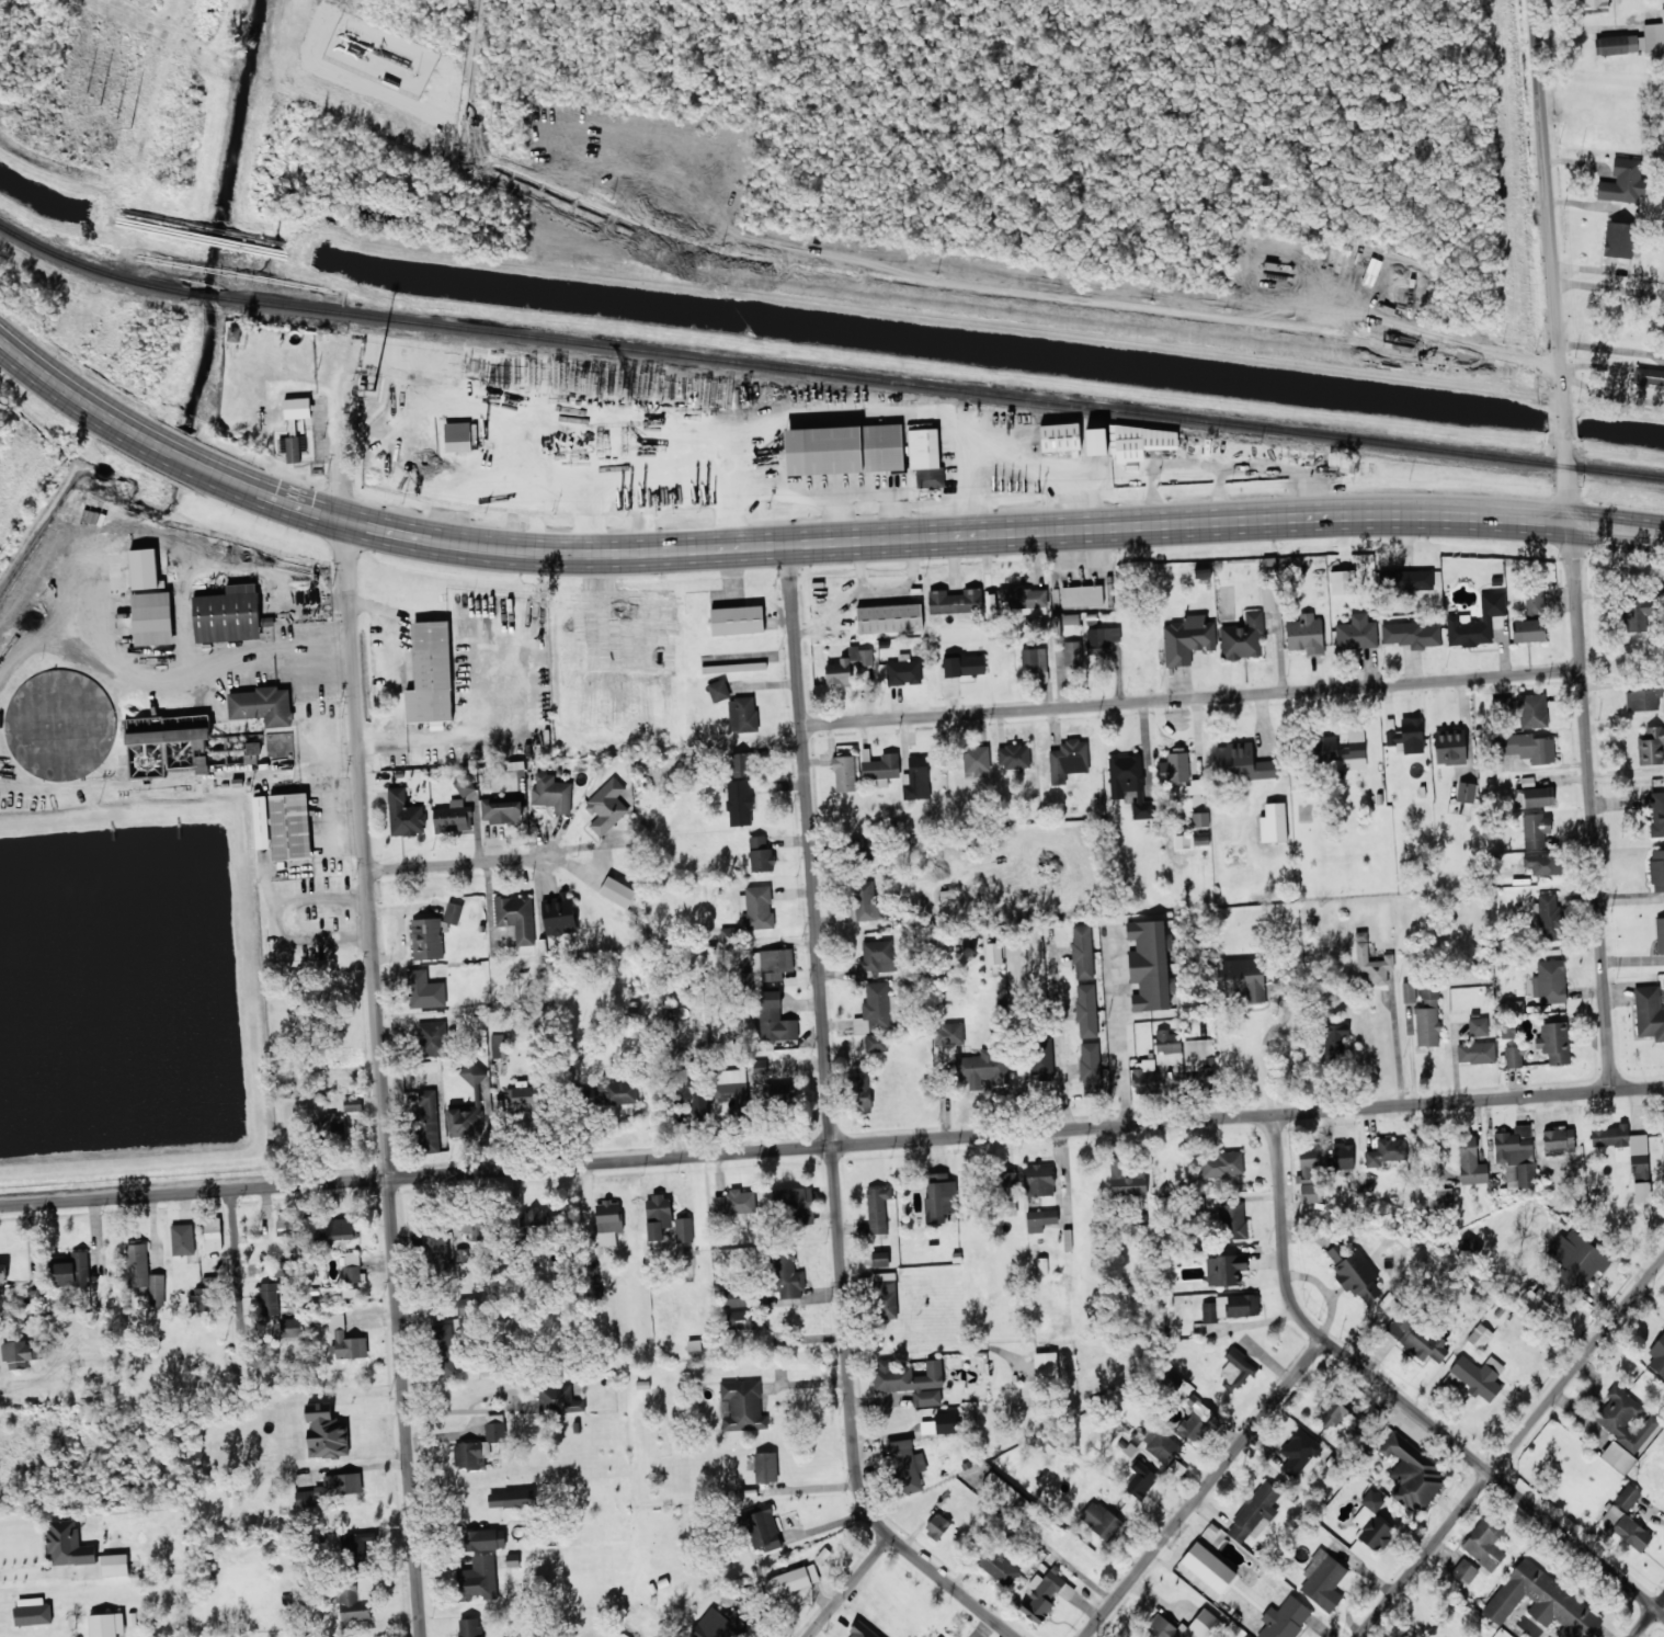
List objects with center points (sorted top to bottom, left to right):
building: (1594, 5)
building: (1633, 41)
building: (1622, 182)
building: (1617, 239)
road: (1609, 288)
building: (231, 333)
building: (410, 356)
railway: (825, 373)
building: (297, 408)
building: (457, 436)
building: (543, 437)
building: (1060, 437)
building: (1096, 441)
building: (1140, 441)
building: (819, 446)
building: (293, 447)
building: (925, 456)
building: (1338, 464)
building: (92, 521)
road: (805, 543)
road: (1574, 546)
building: (144, 568)
building: (1409, 580)
building: (1342, 582)
building: (1082, 595)
building: (1025, 598)
building: (1269, 598)
building: (955, 601)
building: (1534, 601)
building: (1637, 613)
building: (227, 615)
building: (151, 616)
building: (888, 616)
building: (738, 618)
building: (1475, 622)
building: (1528, 630)
building: (1356, 632)
building: (1306, 634)
building: (1411, 634)
building: (1243, 638)
building: (1102, 639)
building: (1187, 639)
building: (1073, 653)
building: (1034, 660)
building: (847, 666)
building: (964, 666)
building: (432, 668)
building: (903, 670)
building: (1663, 673)
building: (718, 690)
road: (1193, 696)
building: (1642, 700)
building: (262, 705)
building: (1532, 710)
building: (742, 714)
building: (1407, 736)
building: (1651, 746)
building: (200, 747)
building: (1449, 747)
building: (1528, 747)
building: (1343, 749)
building: (251, 752)
building: (1013, 755)
building: (977, 760)
building: (1068, 760)
building: (1242, 763)
building: (201, 764)
building: (741, 764)
building: (1174, 766)
building: (844, 773)
building: (916, 778)
building: (1129, 783)
building: (464, 785)
building: (1188, 787)
building: (1466, 792)
building: (551, 793)
building: (1534, 797)
building: (739, 803)
building: (606, 806)
building: (501, 810)
building: (1657, 814)
building: (404, 815)
building: (453, 817)
building: (1200, 819)
building: (261, 822)
building: (1273, 822)
building: (288, 825)
building: (1536, 830)
building: (862, 846)
building: (761, 853)
road: (459, 861)
building: (1541, 865)
building: (1656, 871)
building: (617, 891)
building: (867, 902)
building: (756, 907)
building: (453, 912)
building: (558, 914)
building: (516, 917)
building: (1549, 917)
building: (1660, 934)
building: (426, 939)
building: (1082, 952)
building: (993, 953)
building: (877, 956)
building: (1371, 962)
building: (776, 963)
building: (1150, 965)
building: (1242, 978)
building: (1549, 981)
building: (425, 990)
building: (1409, 992)
road: (376, 997)
building: (875, 1009)
building: (1086, 1010)
building: (1649, 1012)
building: (1427, 1018)
building: (774, 1019)
building: (1478, 1026)
building: (1507, 1030)
road: (1117, 1031)
building: (948, 1034)
building: (432, 1038)
building: (1335, 1039)
building: (1167, 1041)
road: (1059, 1042)
building: (1554, 1042)
building: (876, 1043)
building: (499, 1045)
road: (1264, 1049)
building: (1475, 1053)
building: (1514, 1056)
building: (1199, 1057)
building: (1041, 1058)
building: (1287, 1065)
building: (981, 1069)
building: (1090, 1069)
building: (472, 1072)
building: (1144, 1076)
building: (620, 1092)
building: (785, 1092)
building: (861, 1093)
building: (521, 1099)
building: (353, 1103)
building: (426, 1122)
building: (465, 1122)
road: (831, 1124)
building: (328, 1127)
building: (1622, 1144)
building: (1663, 1146)
road: (831, 1148)
building: (1386, 1151)
building: (1516, 1156)
building: (1342, 1157)
building: (1470, 1161)
building: (1222, 1163)
building: (1309, 1174)
building: (1039, 1180)
building: (1126, 1180)
building: (1008, 1192)
building: (1642, 1192)
building: (939, 1197)
building: (1441, 1197)
building: (736, 1202)
building: (794, 1204)
building: (877, 1210)
building: (658, 1219)
building: (1040, 1219)
building: (533, 1221)
building: (608, 1221)
building: (285, 1225)
building: (342, 1227)
building: (683, 1229)
building: (212, 1234)
building: (182, 1239)
building: (437, 1250)
building: (1336, 1252)
building: (460, 1255)
building: (880, 1259)
building: (1576, 1260)
building: (282, 1267)
building: (72, 1269)
building: (1224, 1270)
building: (352, 1273)
building: (2, 1274)
building: (145, 1274)
building: (787, 1275)
building: (1357, 1275)
building: (1534, 1293)
building: (886, 1295)
building: (202, 1298)
building: (270, 1298)
building: (734, 1298)
building: (469, 1306)
building: (1230, 1307)
building: (741, 1320)
building: (290, 1329)
building: (1479, 1335)
building: (1416, 1338)
building: (345, 1340)
building: (694, 1346)
building: (443, 1349)
building: (20, 1354)
building: (1657, 1355)
building: (1046, 1366)
building: (1235, 1369)
building: (1478, 1376)
building: (911, 1380)
building: (558, 1399)
road: (1403, 1401)
building: (742, 1406)
building: (1332, 1413)
building: (1621, 1418)
building: (1197, 1420)
building: (941, 1423)
building: (326, 1432)
building: (479, 1444)
building: (1160, 1445)
road: (1509, 1446)
building: (1300, 1452)
building: (1618, 1457)
building: (907, 1465)
building: (765, 1467)
building: (1411, 1473)
building: (1141, 1480)
building: (340, 1485)
road: (1203, 1487)
building: (1006, 1496)
building: (1627, 1497)
building: (510, 1499)
building: (1256, 1512)
building: (1101, 1520)
building: (1371, 1523)
building: (937, 1526)
building: (763, 1530)
building: (485, 1539)
building: (68, 1544)
building: (1484, 1544)
building: (356, 1550)
building: (114, 1565)
building: (995, 1565)
building: (1208, 1567)
building: (1464, 1571)
building: (478, 1578)
building: (1323, 1580)
building: (788, 1581)
road: (848, 1585)
building: (1045, 1594)
building: (355, 1598)
building: (1542, 1602)
building: (32, 1611)
road: (1648, 1617)
building: (1285, 1618)
building: (717, 1624)
building: (1161, 1624)
building: (106, 1625)
building: (470, 1627)
building: (1246, 1636)

